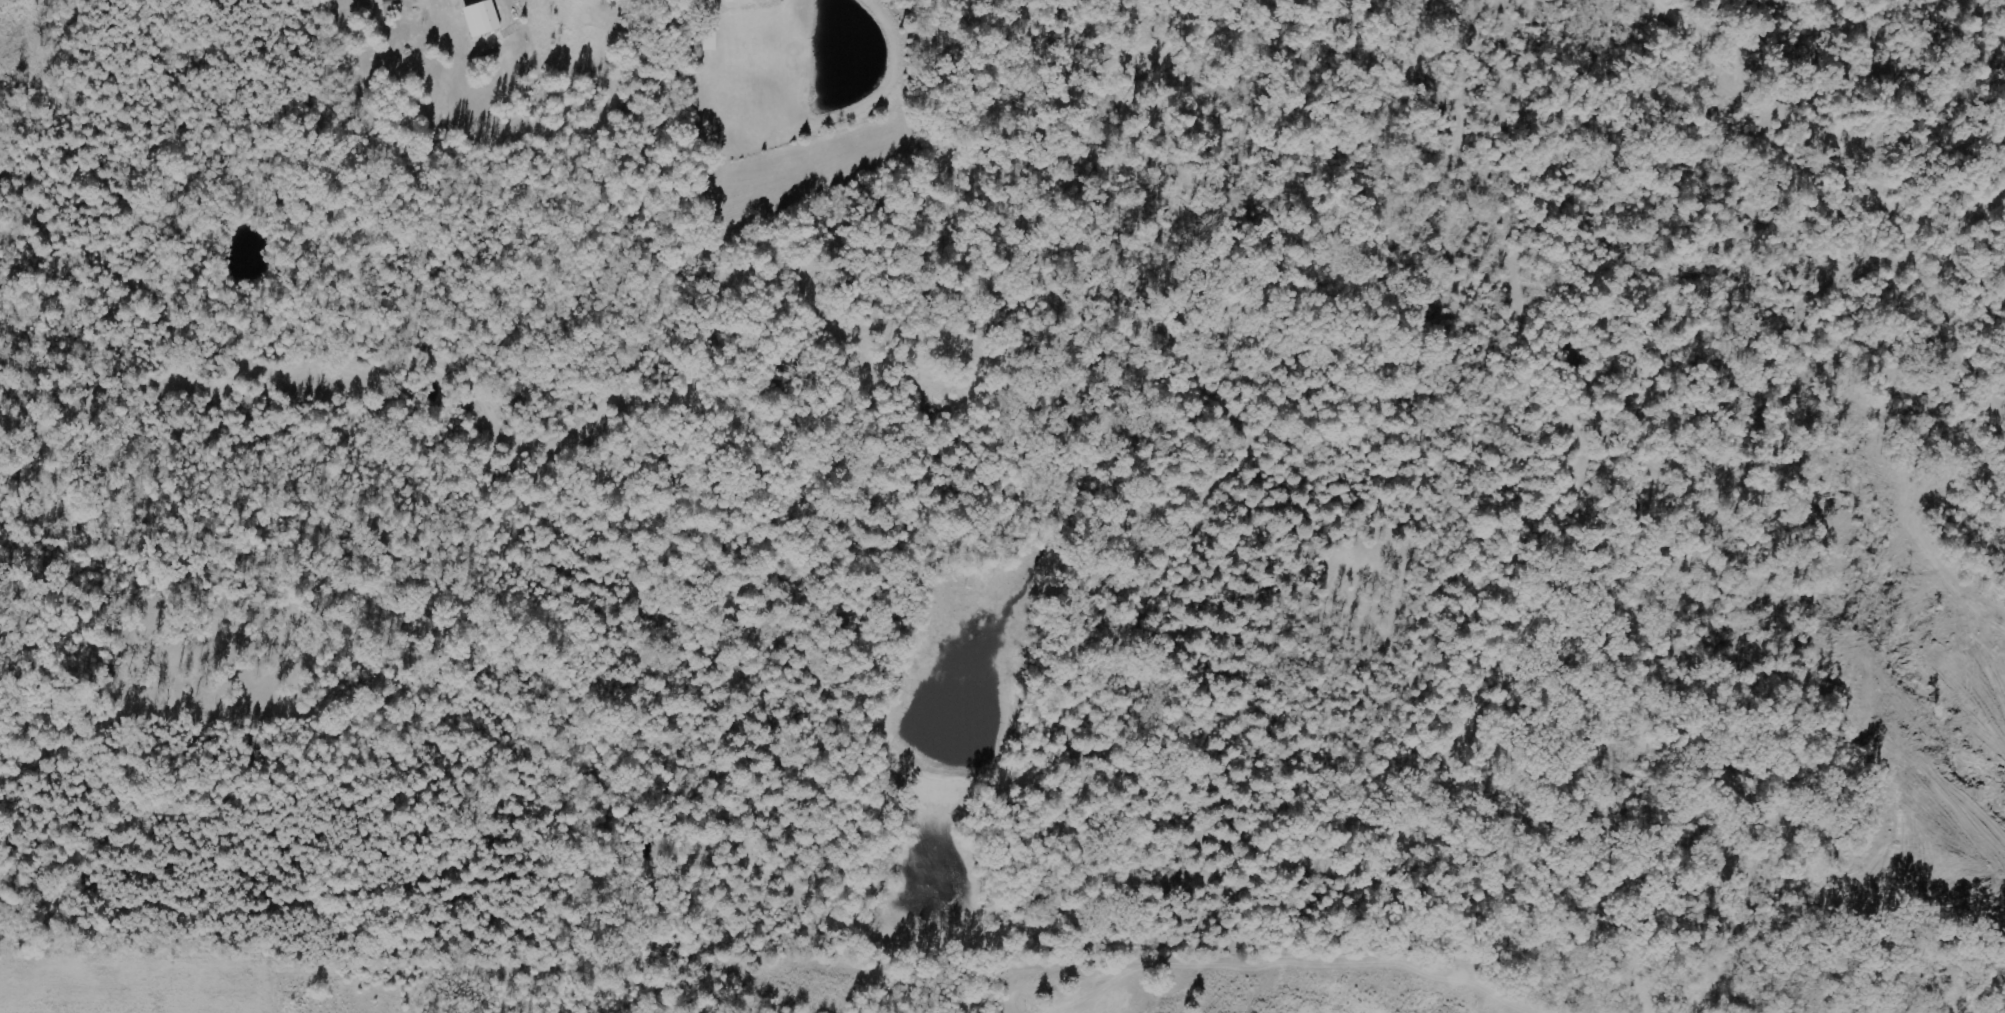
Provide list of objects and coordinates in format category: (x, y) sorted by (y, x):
building: (478, 17)

